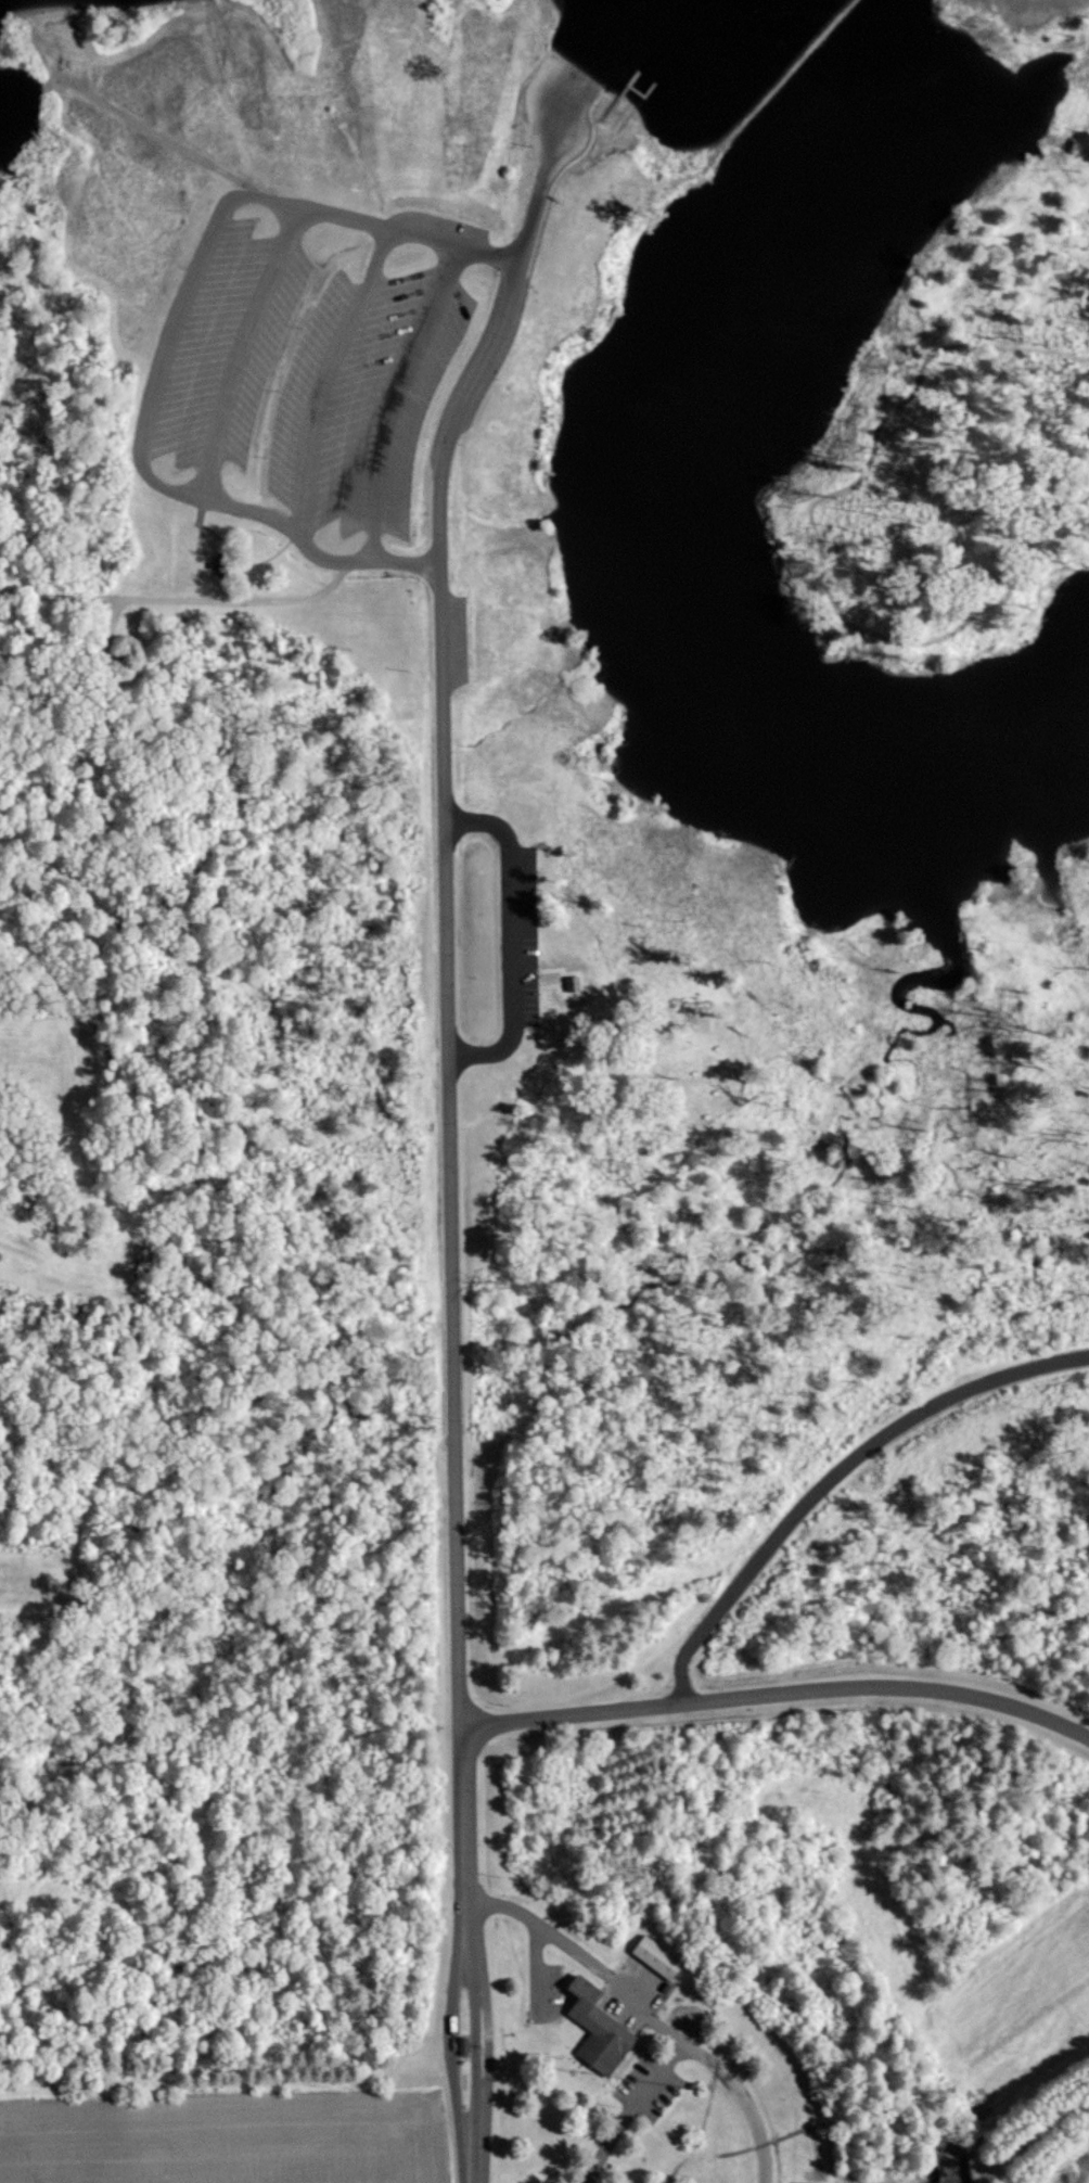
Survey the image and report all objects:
road: (453, 25)
road: (51, 37)
road: (142, 44)
road: (282, 68)
pier: (641, 94)
road: (375, 99)
road: (223, 100)
pier: (614, 100)
road: (572, 118)
road: (166, 140)
road: (318, 190)
road: (409, 228)
road: (67, 229)
road: (180, 257)
road: (35, 329)
road: (168, 329)
parking lot: (223, 343)
road: (240, 350)
road: (325, 378)
road: (393, 395)
parking lot: (364, 397)
road: (201, 511)
road: (812, 531)
road: (312, 552)
road: (240, 563)
road: (88, 597)
road: (228, 598)
parking lot: (453, 641)
road: (446, 924)
parking lot: (524, 932)
road: (512, 937)
building: (567, 981)
park: (687, 1045)
road: (201, 1176)
road: (90, 1189)
road: (832, 1472)
road: (33, 1579)
road: (779, 1693)
road: (464, 1902)
building: (659, 1958)
road: (538, 1969)
parking lot: (550, 1991)
parking lot: (635, 1995)
road: (645, 2015)
crop: (1015, 2019)
building: (599, 2028)
road: (460, 2034)
road: (477, 2042)
building: (460, 2044)
road: (563, 2044)
road: (578, 2063)
road: (590, 2067)
parking lot: (648, 2086)
road: (631, 2108)

